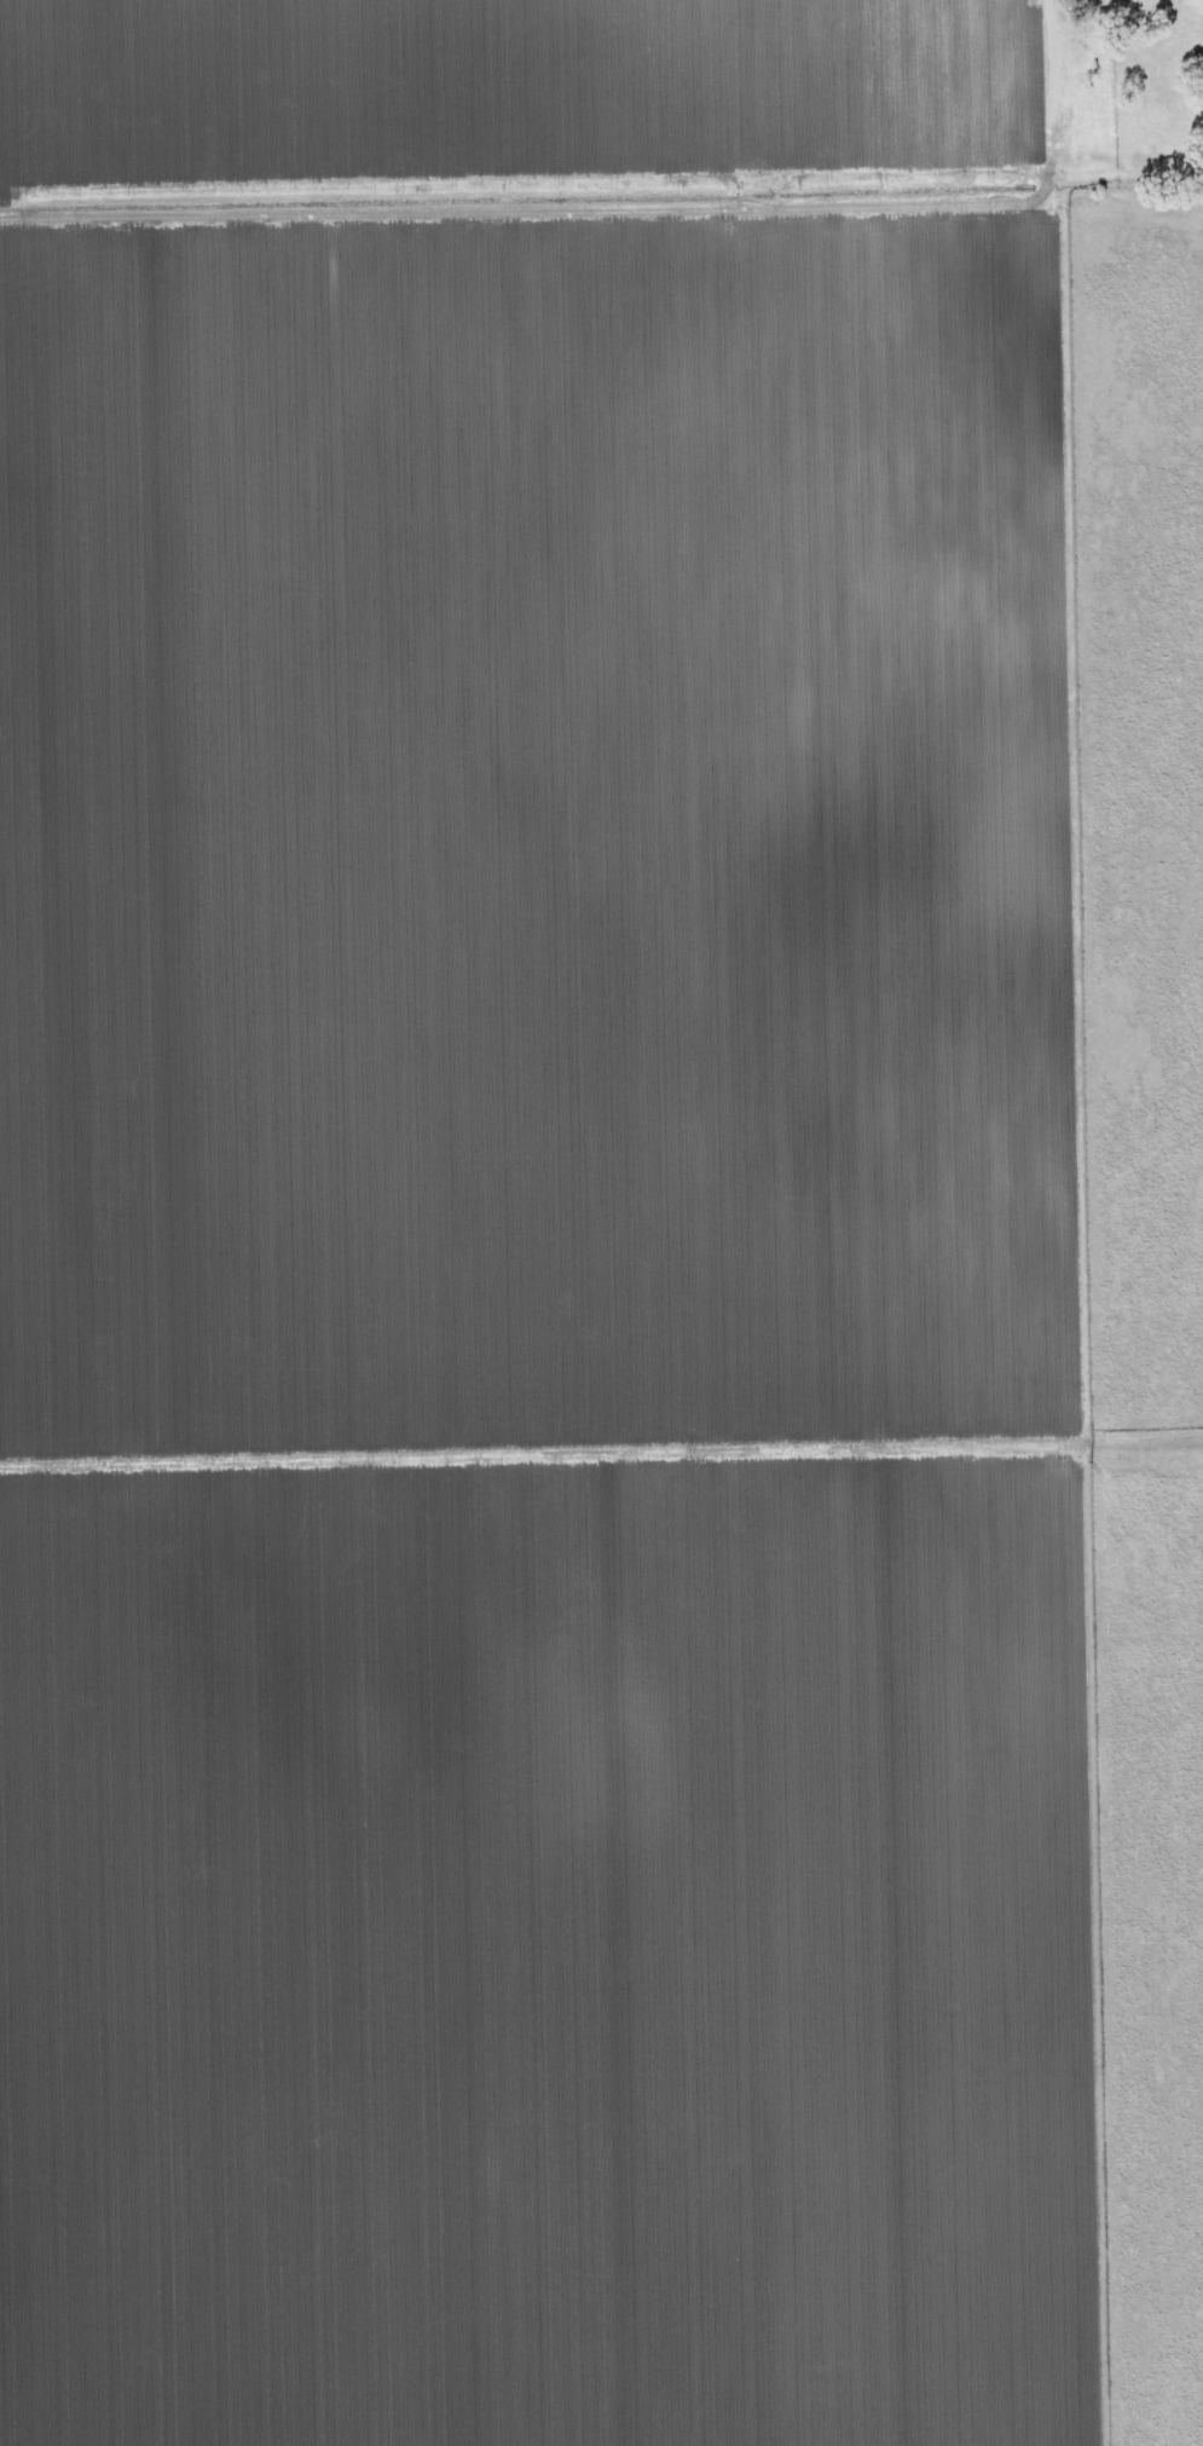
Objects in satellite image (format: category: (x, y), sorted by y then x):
road: (1031, 92)

